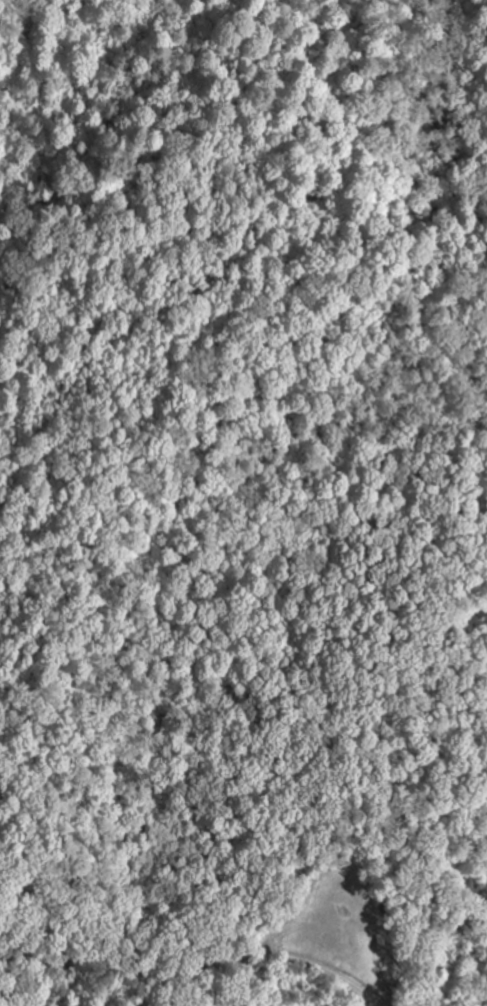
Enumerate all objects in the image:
road: (190, 971)

